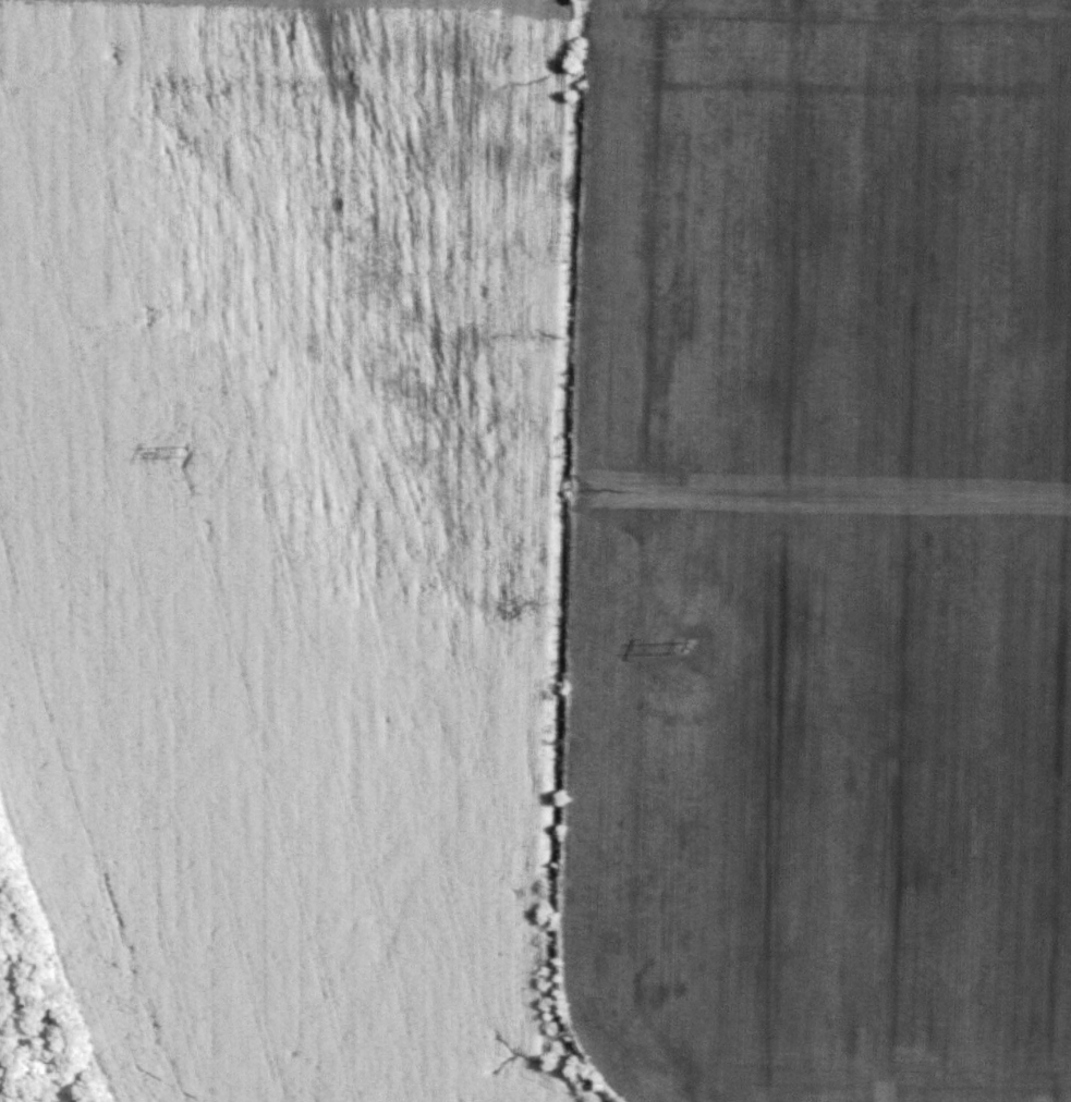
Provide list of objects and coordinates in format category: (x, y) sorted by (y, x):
power tower: (197, 449)
power tower: (673, 657)

